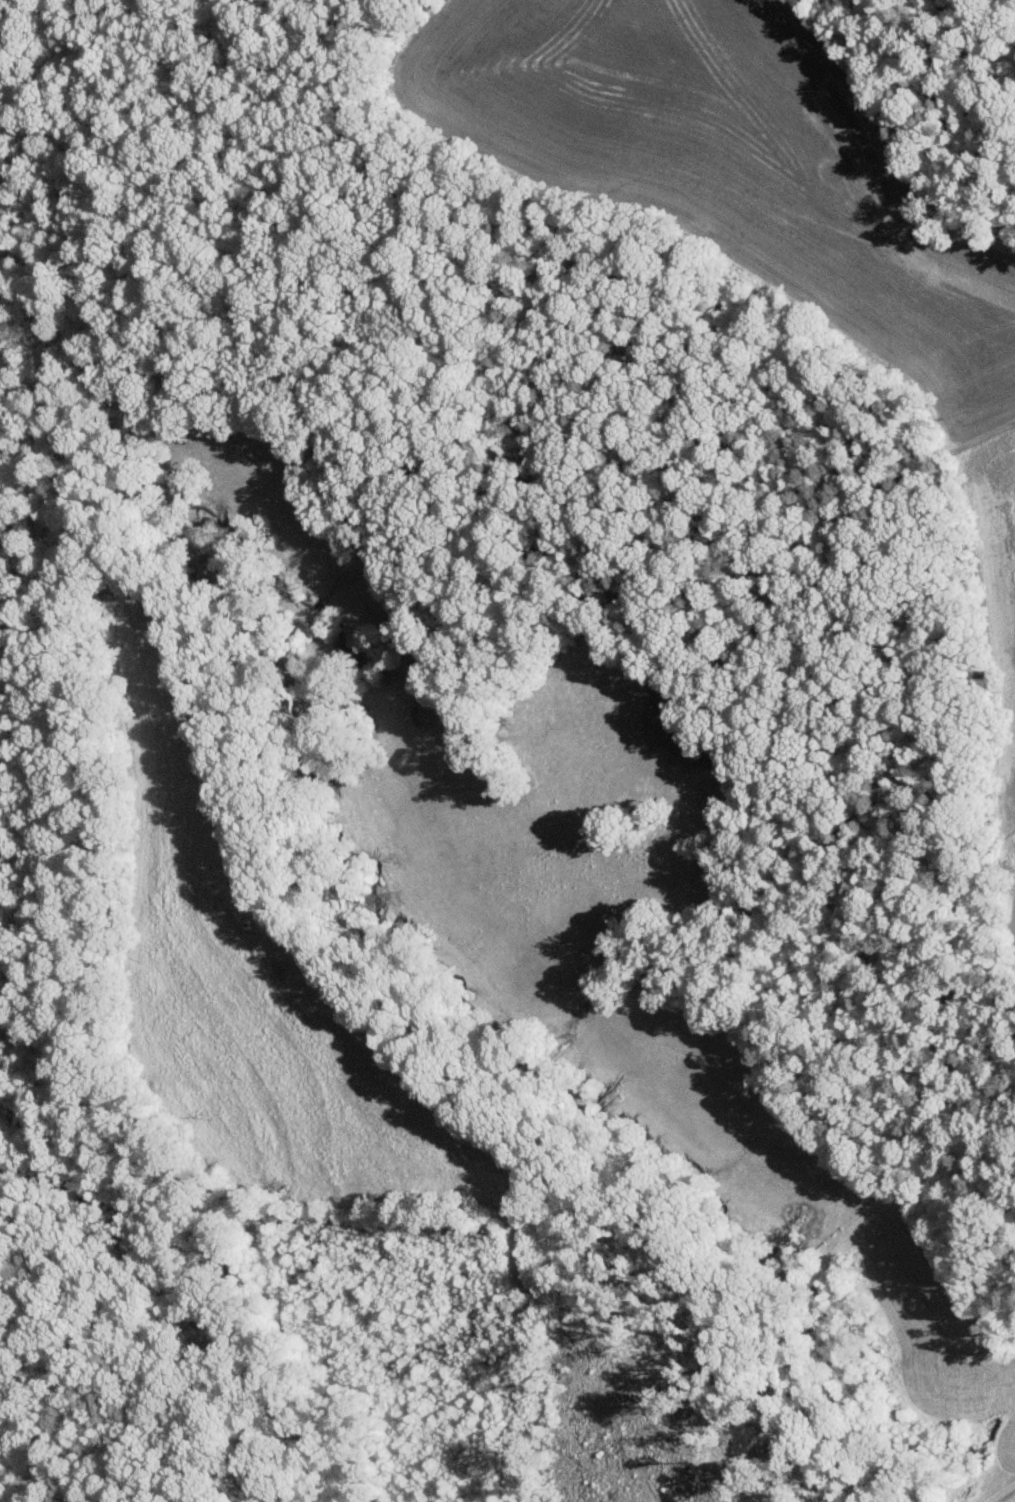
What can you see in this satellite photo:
park: (86, 810)

